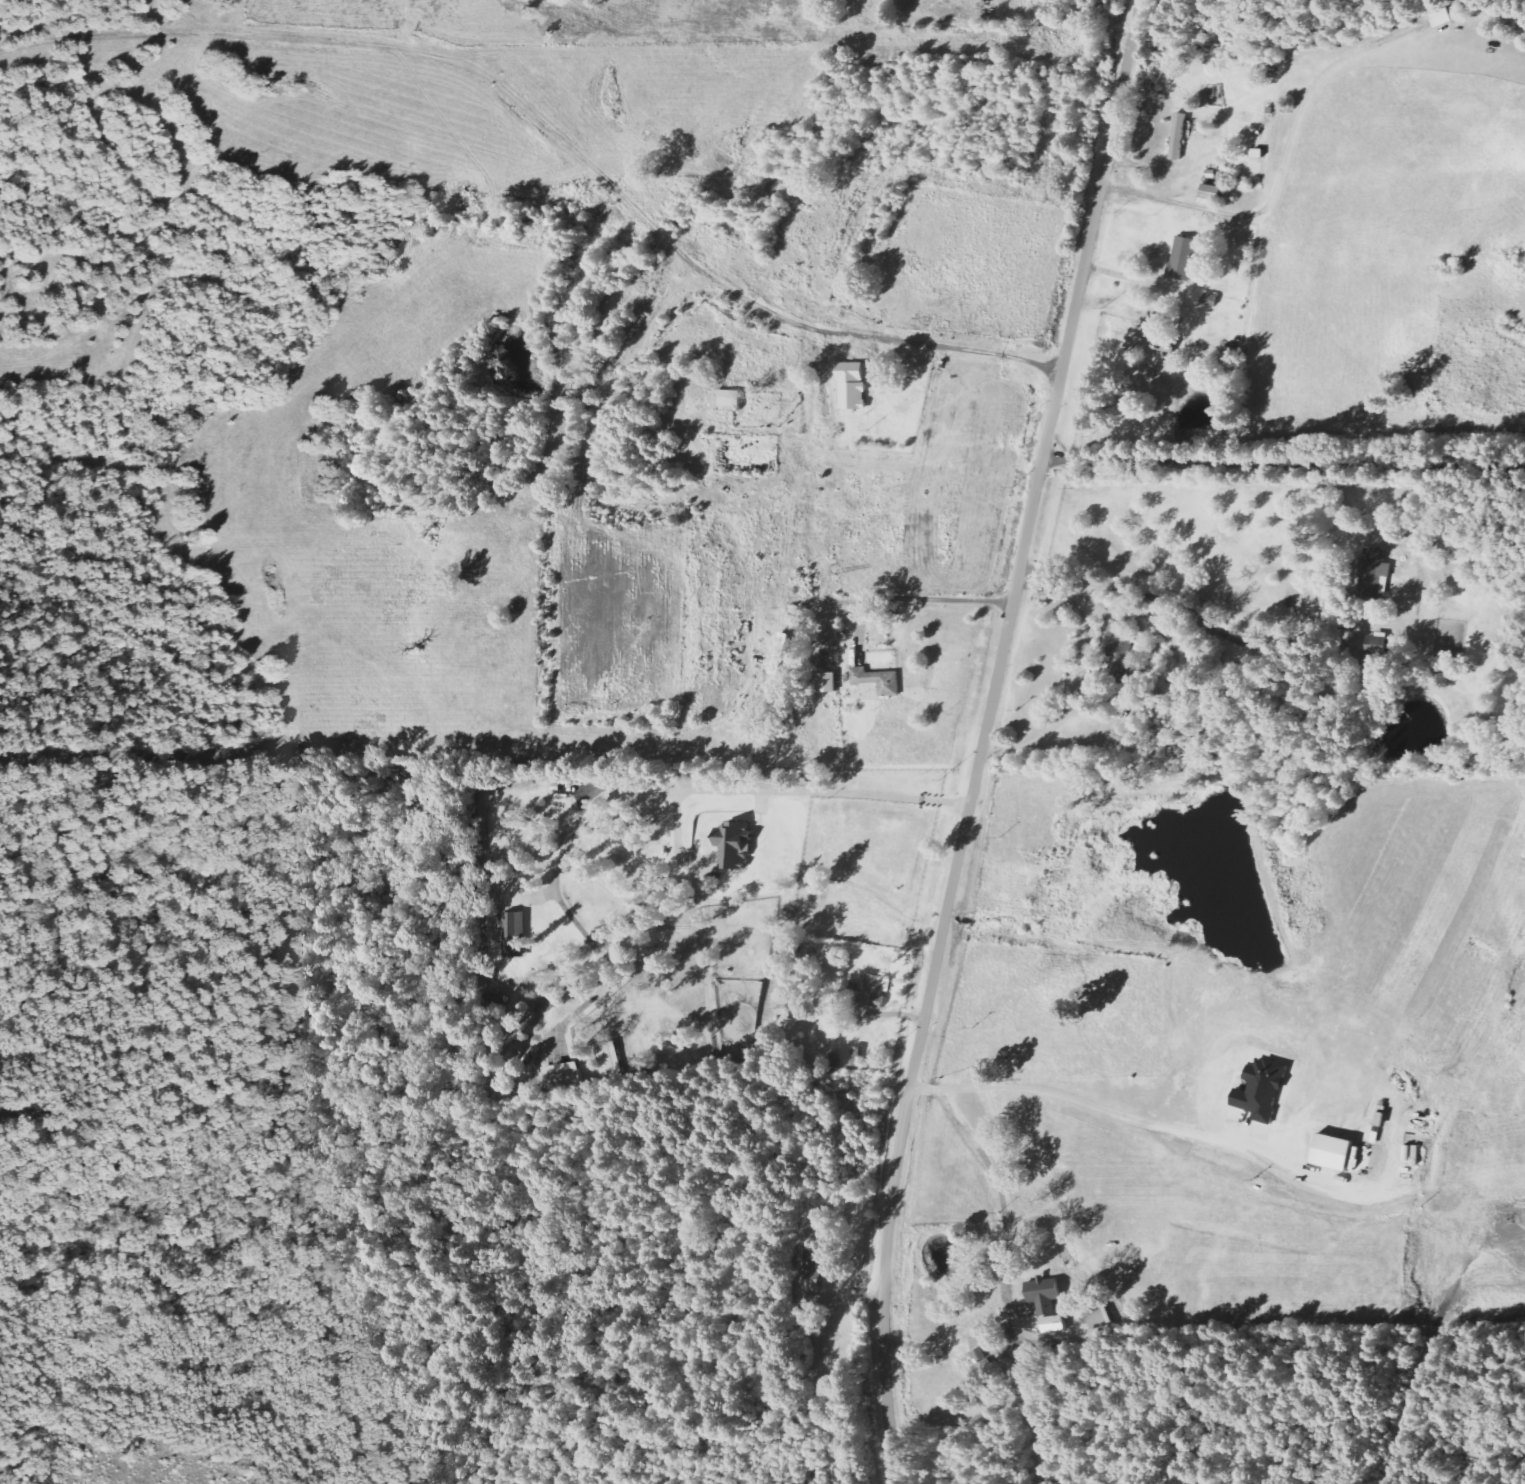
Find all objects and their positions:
building: (1456, 11)
building: (1179, 136)
building: (1183, 259)
building: (1164, 343)
road: (958, 348)
building: (852, 386)
building: (729, 400)
road: (1285, 461)
building: (1460, 556)
building: (1373, 572)
building: (1120, 652)
building: (878, 680)
building: (828, 682)
road: (984, 739)
road: (633, 787)
road: (679, 842)
building: (734, 846)
building: (512, 934)
building: (873, 991)
building: (607, 1060)
building: (561, 1075)
building: (1343, 1155)
building: (811, 1264)
building: (1046, 1303)

